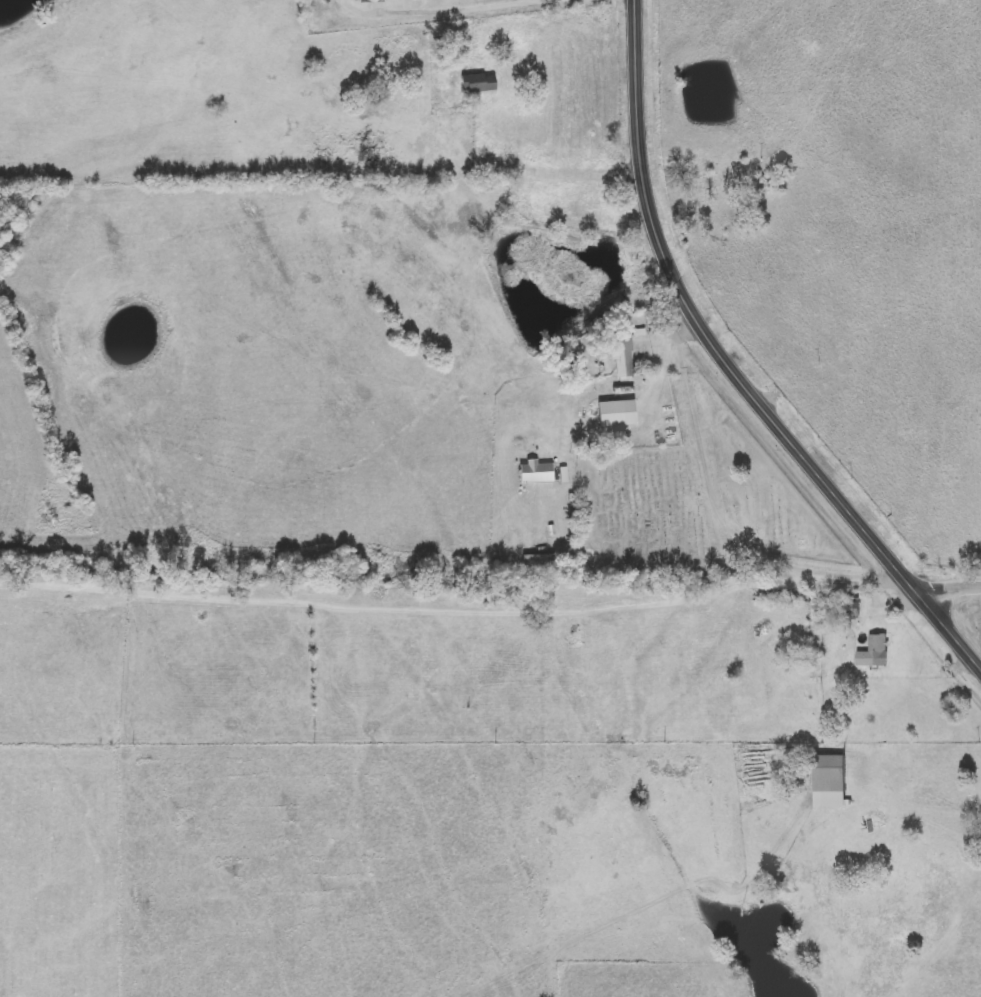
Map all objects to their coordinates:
building: (372, 2)
road: (455, 9)
building: (374, 68)
building: (458, 88)
building: (434, 128)
road: (534, 174)
building: (623, 353)
road: (733, 362)
park: (695, 499)
road: (735, 532)
road: (950, 587)
building: (814, 597)
road: (406, 607)
building: (876, 649)
building: (830, 774)
road: (927, 804)

